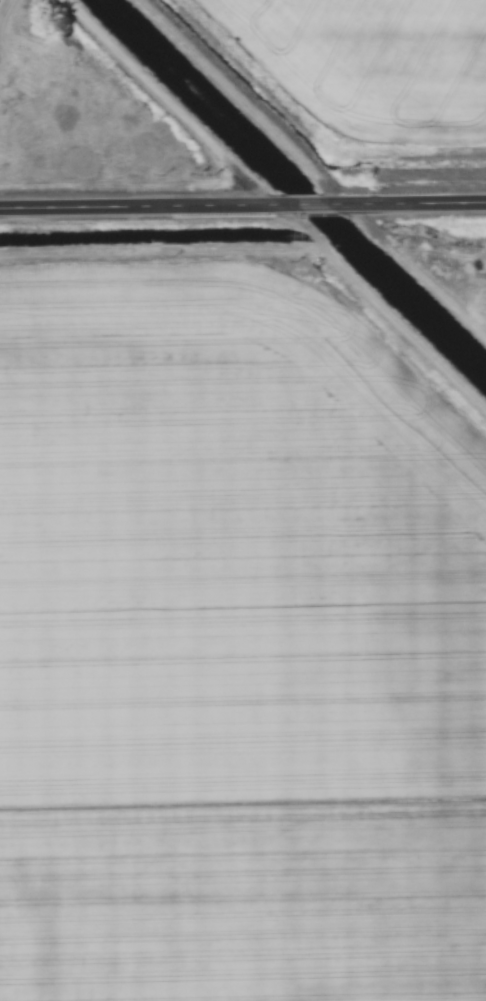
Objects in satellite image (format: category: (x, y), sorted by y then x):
road: (243, 207)

